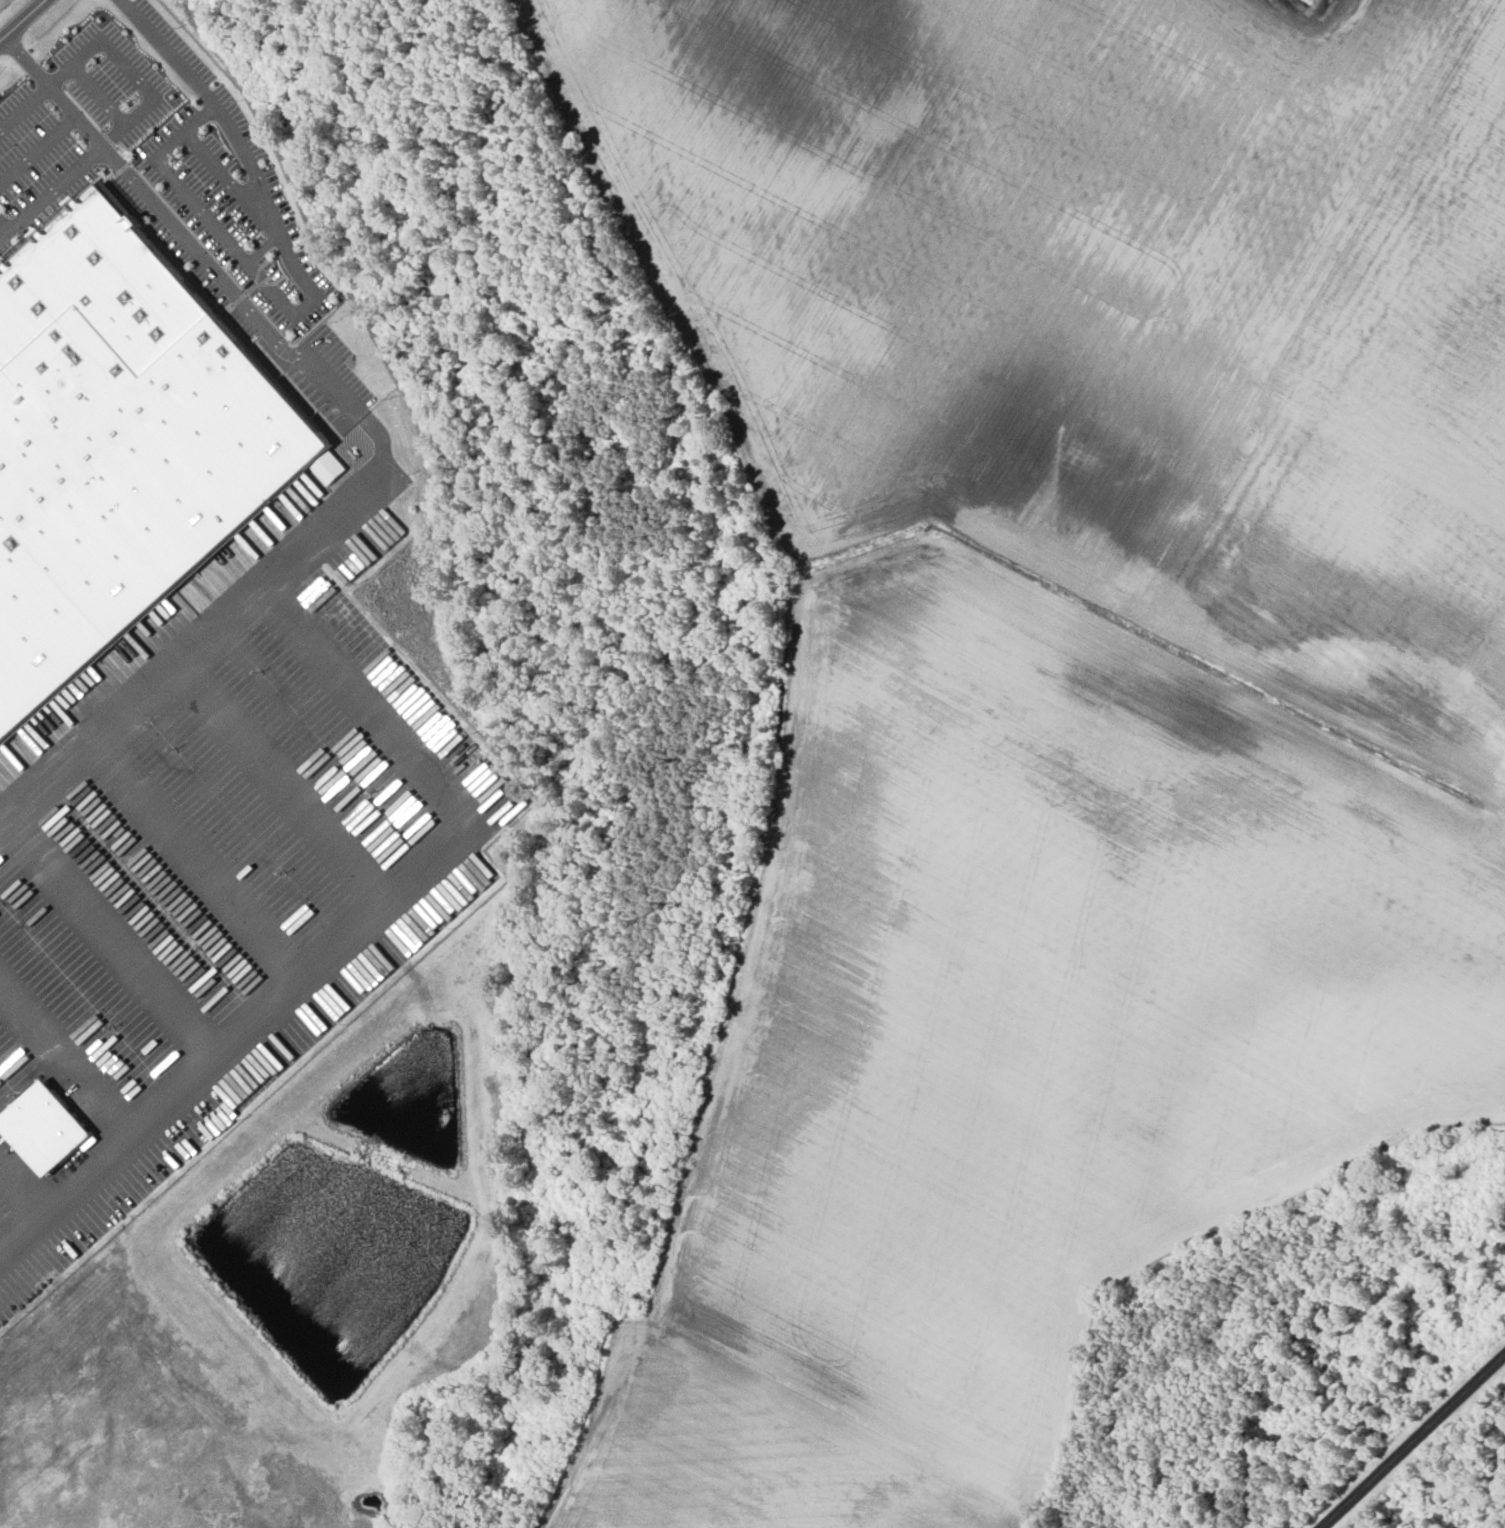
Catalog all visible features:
road: (22, 19)
road: (166, 52)
road: (127, 69)
road: (99, 94)
road: (24, 107)
road: (98, 143)
road: (37, 149)
road: (223, 175)
road: (3, 228)
road: (262, 247)
road: (279, 298)
building: (121, 446)
road: (351, 495)
road: (280, 776)
road: (193, 856)
road: (350, 929)
road: (113, 931)
road: (68, 1058)
building: (43, 1128)
road: (23, 1188)
road: (1416, 1444)
road: (394, 1463)

